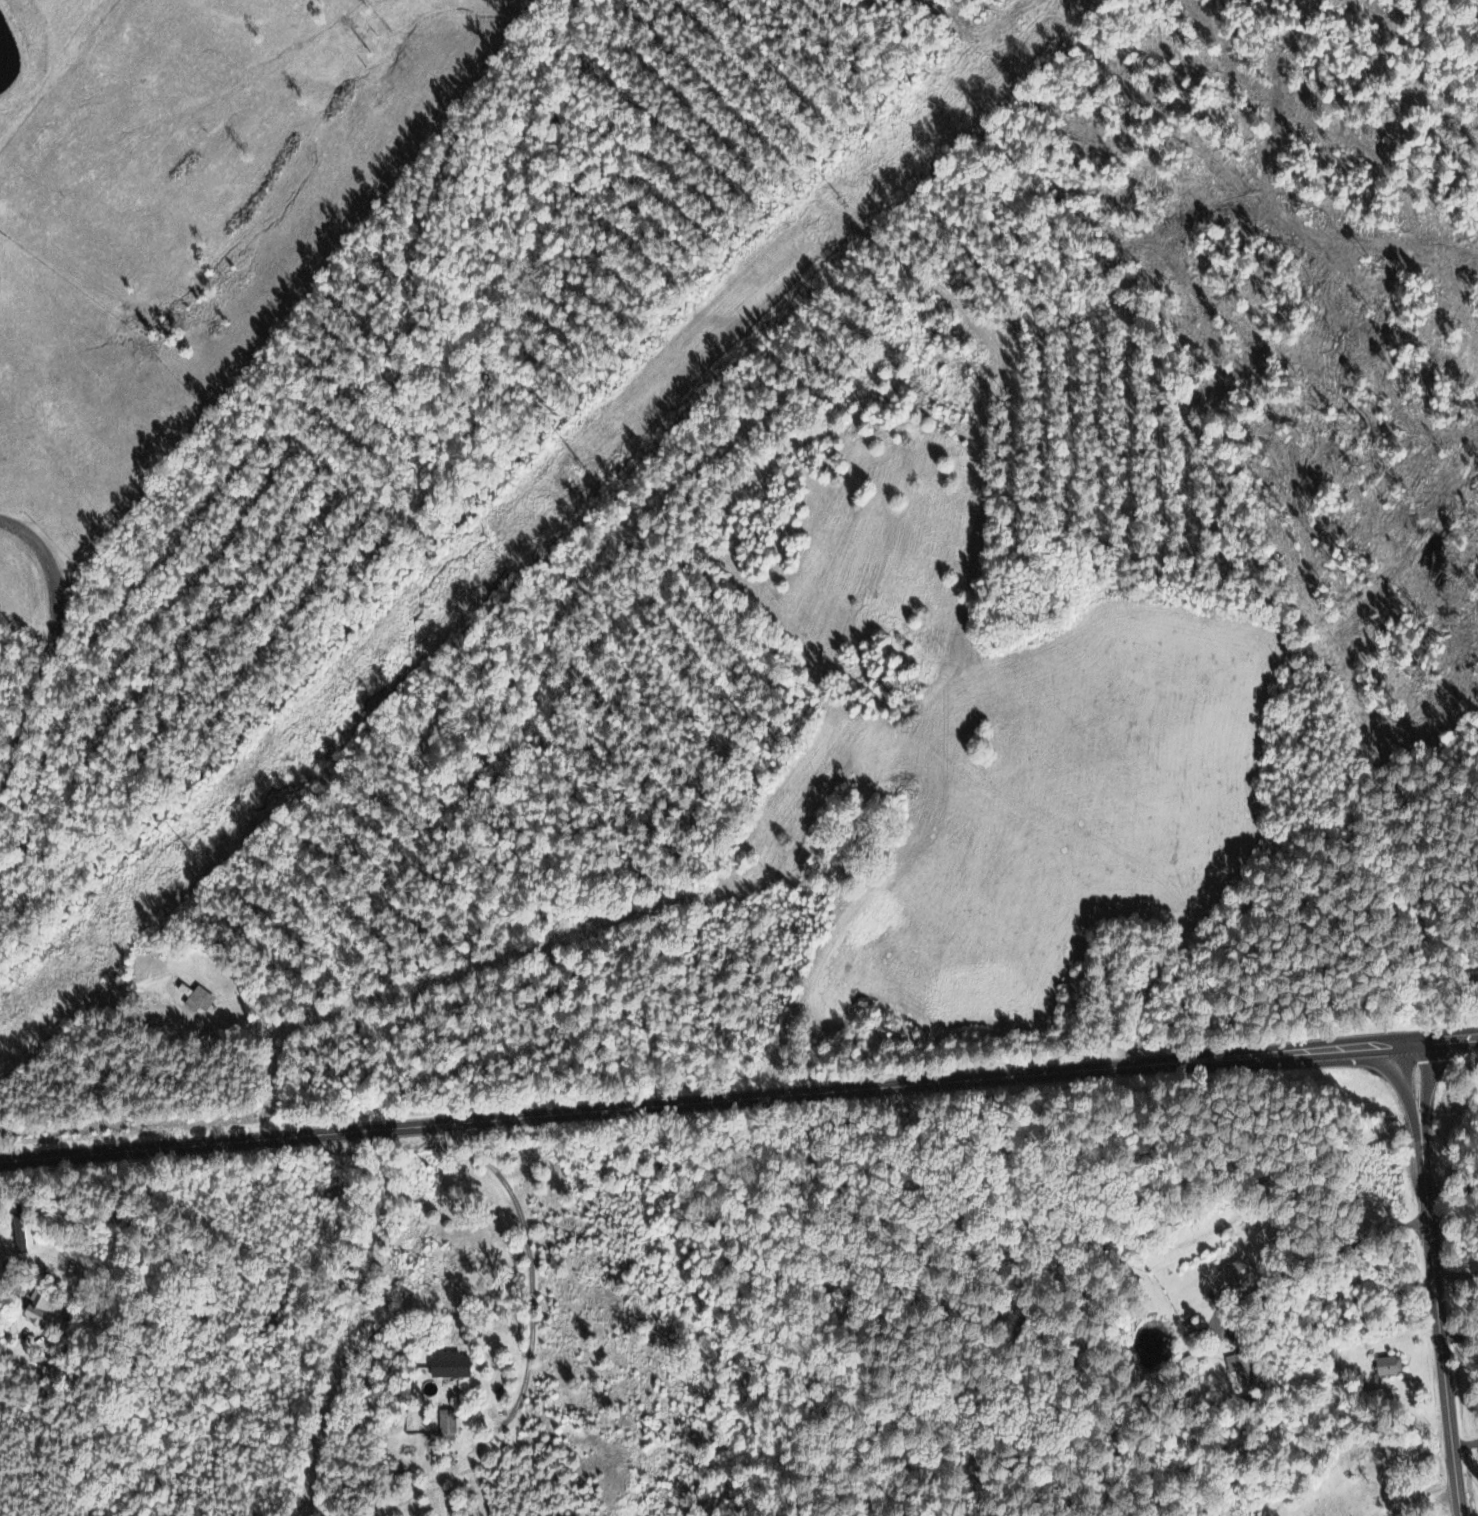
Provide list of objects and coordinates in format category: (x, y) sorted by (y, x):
power tower: (846, 205)
power tower: (583, 464)
road: (49, 652)
power tower: (192, 854)
building: (196, 998)
road: (1446, 1045)
road: (707, 1111)
building: (19, 1237)
building: (1233, 1275)
road: (1437, 1282)
building: (37, 1310)
road: (538, 1341)
building: (448, 1364)
building: (1387, 1365)
building: (1239, 1369)
building: (446, 1424)

